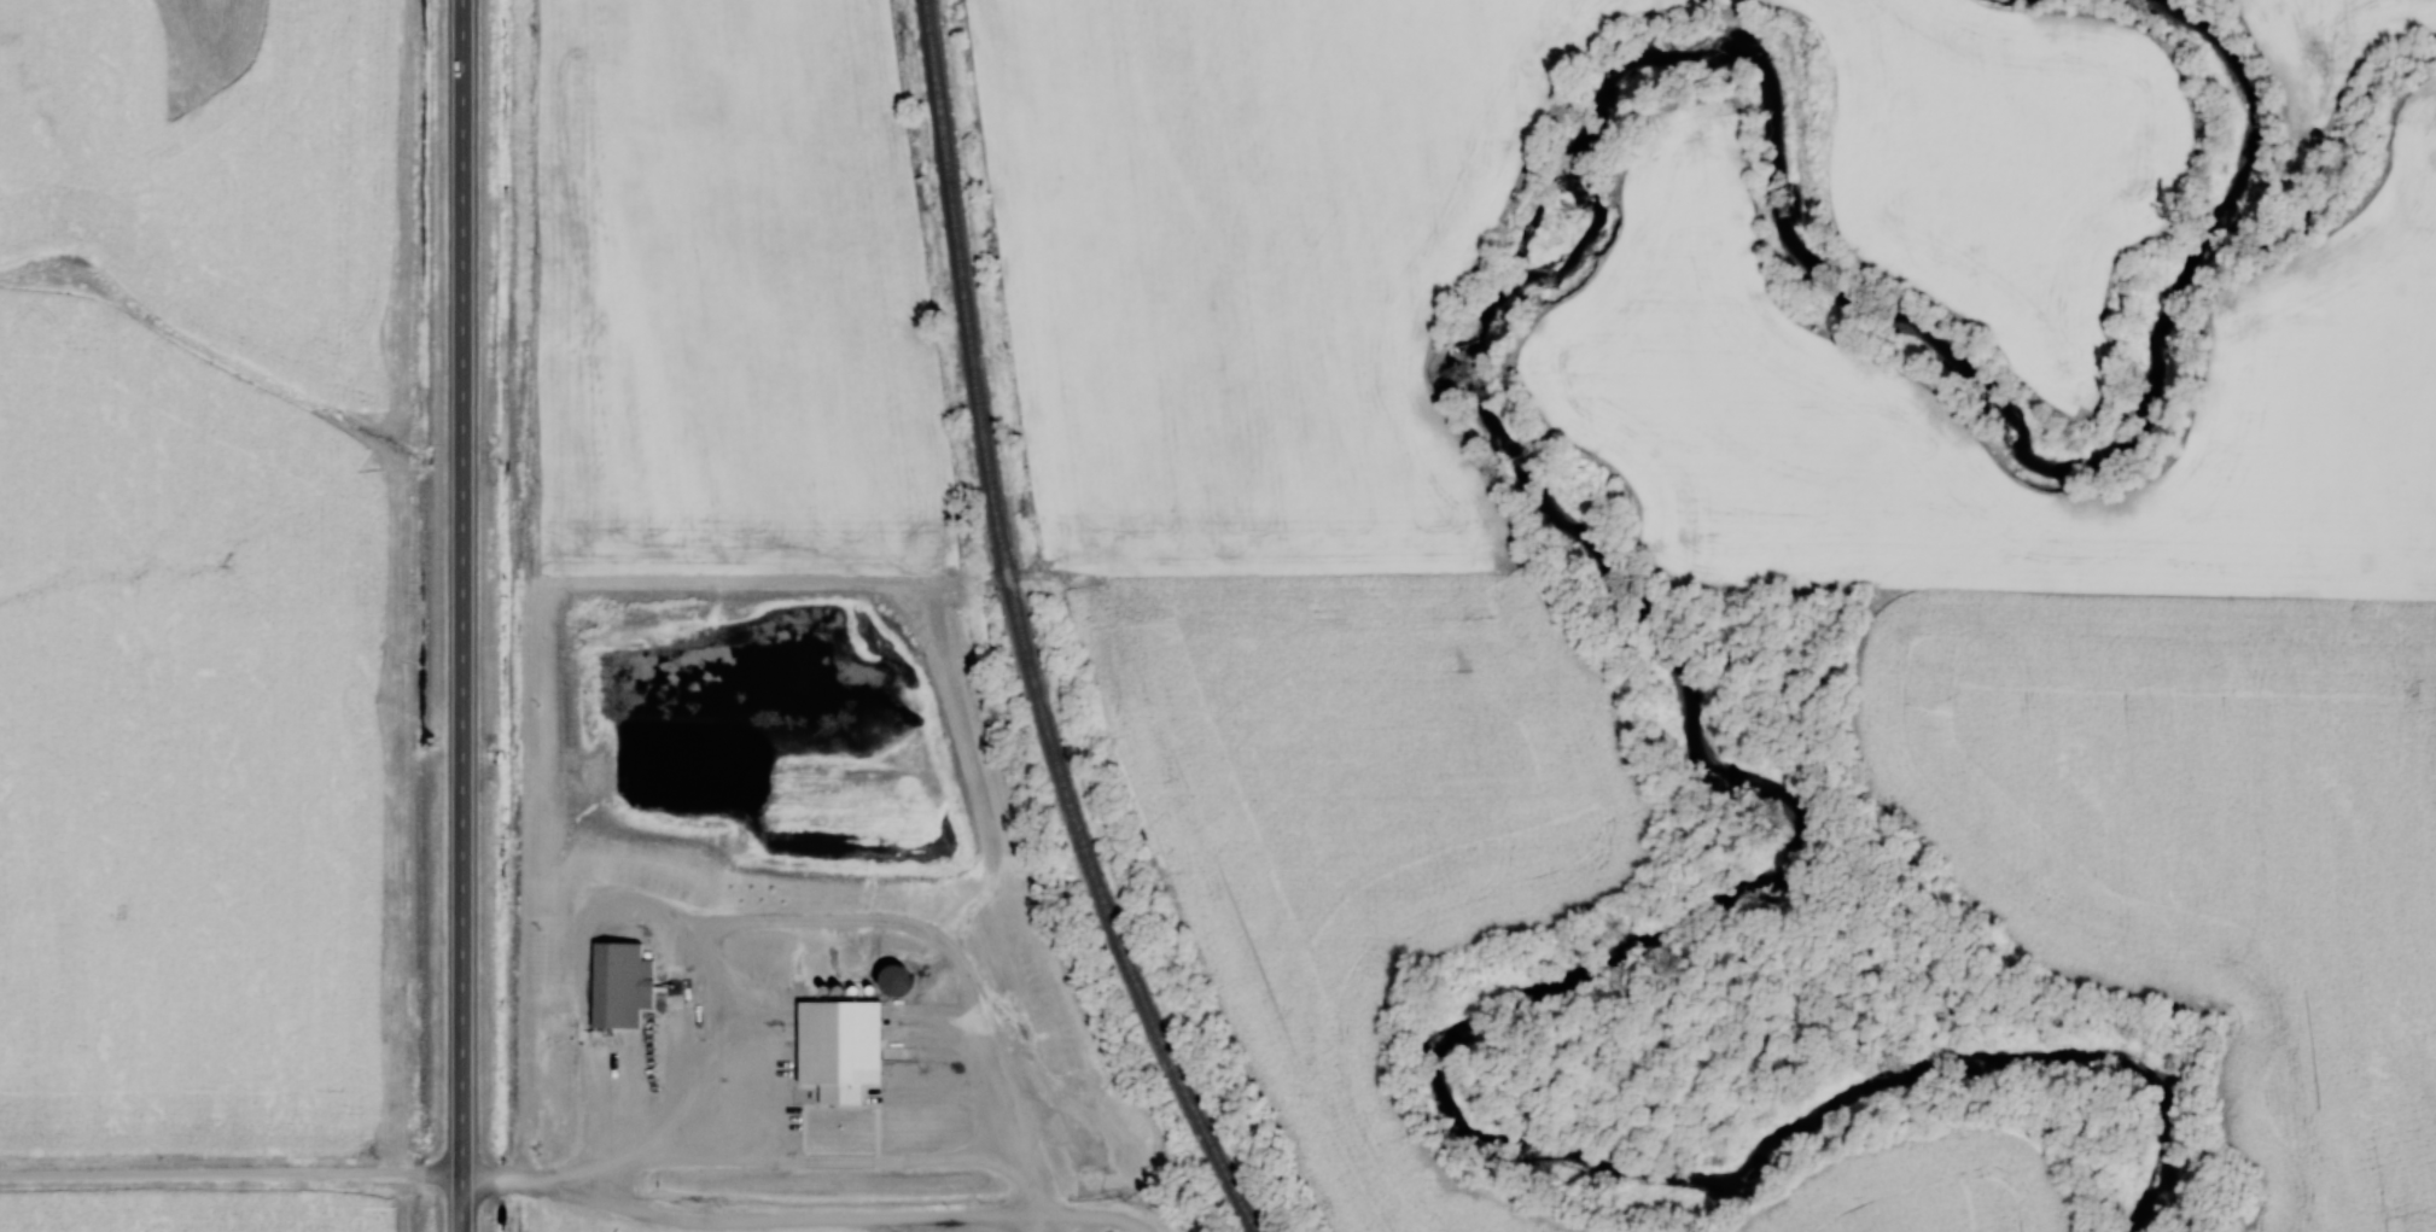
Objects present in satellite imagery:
river: (1577, 547)
road: (462, 615)
railway: (1013, 636)
road: (797, 922)
road: (231, 1178)
road: (1092, 1218)
road: (748, 1222)
road: (1041, 1224)

